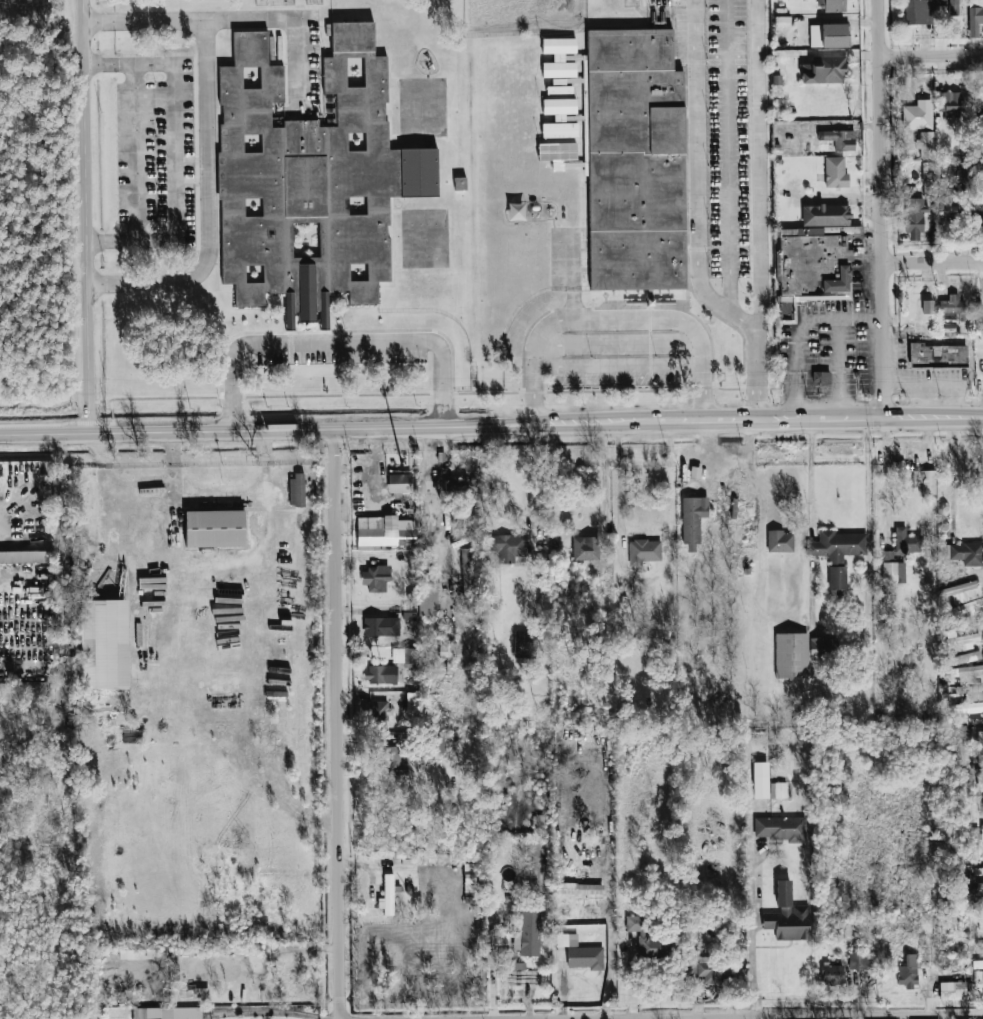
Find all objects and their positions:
building: (940, 2)
building: (832, 5)
building: (953, 7)
building: (919, 11)
building: (975, 16)
road: (290, 20)
road: (147, 21)
building: (829, 35)
road: (933, 54)
building: (558, 57)
building: (825, 70)
building: (559, 89)
building: (953, 104)
building: (559, 108)
building: (917, 115)
building: (559, 130)
building: (839, 139)
building: (557, 151)
road: (138, 153)
road: (186, 154)
road: (730, 156)
building: (635, 161)
building: (835, 172)
building: (314, 174)
building: (460, 183)
building: (927, 190)
road: (210, 205)
road: (883, 209)
building: (978, 213)
road: (87, 216)
building: (914, 218)
building: (813, 256)
road: (932, 261)
road: (571, 278)
building: (927, 306)
building: (948, 307)
building: (323, 310)
building: (289, 311)
road: (617, 319)
road: (747, 324)
road: (800, 327)
road: (335, 340)
road: (619, 345)
building: (937, 355)
road: (619, 366)
road: (838, 366)
road: (755, 375)
building: (821, 377)
road: (758, 418)
road: (267, 429)
road: (430, 445)
road: (810, 471)
road: (532, 472)
road: (889, 479)
building: (925, 481)
building: (459, 486)
road: (619, 487)
building: (297, 490)
road: (219, 494)
road: (432, 508)
building: (692, 521)
building: (214, 528)
building: (381, 531)
building: (405, 541)
building: (780, 541)
building: (904, 544)
building: (507, 547)
building: (586, 548)
building: (644, 551)
building: (837, 553)
building: (963, 553)
building: (26, 557)
building: (469, 571)
building: (893, 572)
building: (375, 578)
building: (562, 588)
building: (961, 591)
building: (428, 593)
road: (61, 608)
building: (408, 611)
building: (381, 626)
building: (525, 639)
building: (963, 641)
building: (103, 644)
building: (823, 647)
building: (447, 649)
building: (791, 655)
building: (411, 657)
building: (963, 658)
building: (965, 673)
building: (381, 674)
building: (971, 692)
building: (410, 701)
building: (965, 707)
building: (377, 712)
road: (339, 723)
building: (438, 742)
building: (980, 747)
building: (392, 761)
building: (979, 778)
building: (760, 787)
building: (778, 790)
building: (779, 828)
building: (982, 831)
building: (978, 871)
building: (469, 877)
building: (974, 887)
building: (577, 888)
building: (387, 895)
building: (981, 907)
road: (752, 909)
building: (787, 916)
building: (980, 924)
building: (528, 934)
building: (649, 941)
building: (981, 948)
building: (580, 953)
building: (860, 960)
building: (517, 965)
building: (710, 969)
building: (908, 971)
building: (832, 973)
building: (954, 990)
road: (265, 1011)
building: (167, 1013)
road: (838, 1015)
road: (744, 1018)

